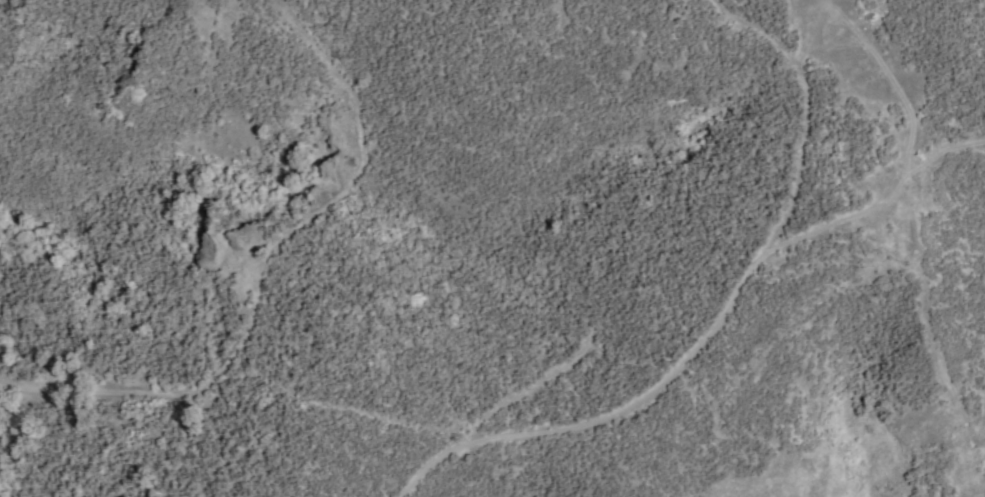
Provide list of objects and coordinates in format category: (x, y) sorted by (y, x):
road: (834, 36)
road: (941, 148)
road: (901, 173)
road: (258, 261)
road: (712, 318)
road: (944, 346)
road: (335, 405)

